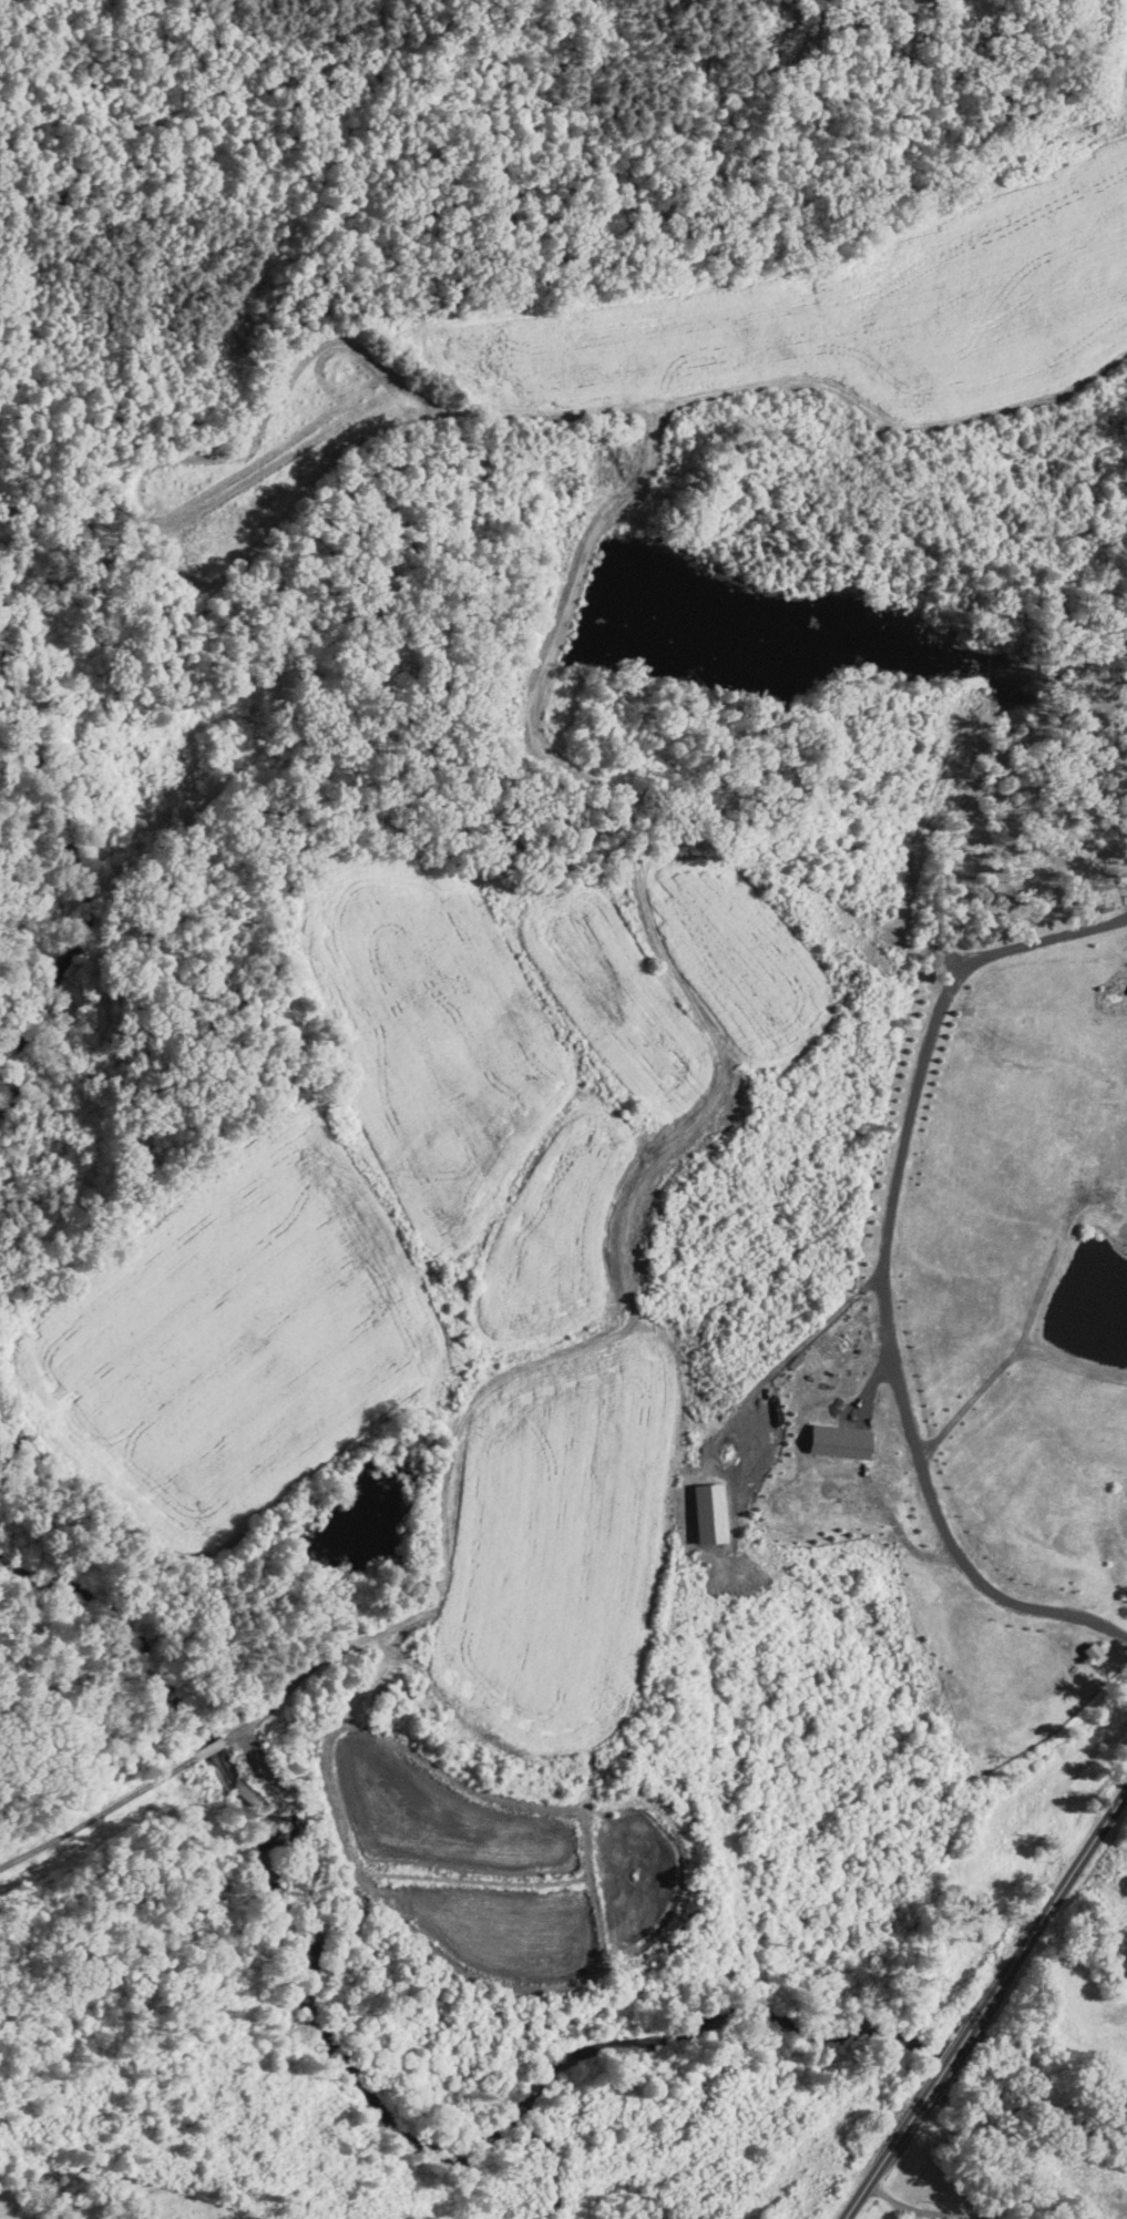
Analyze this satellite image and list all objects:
road: (884, 1270)
building: (838, 1440)
building: (1093, 1653)
road: (1049, 1910)
road: (950, 2060)
road: (887, 2156)
road: (918, 2208)

